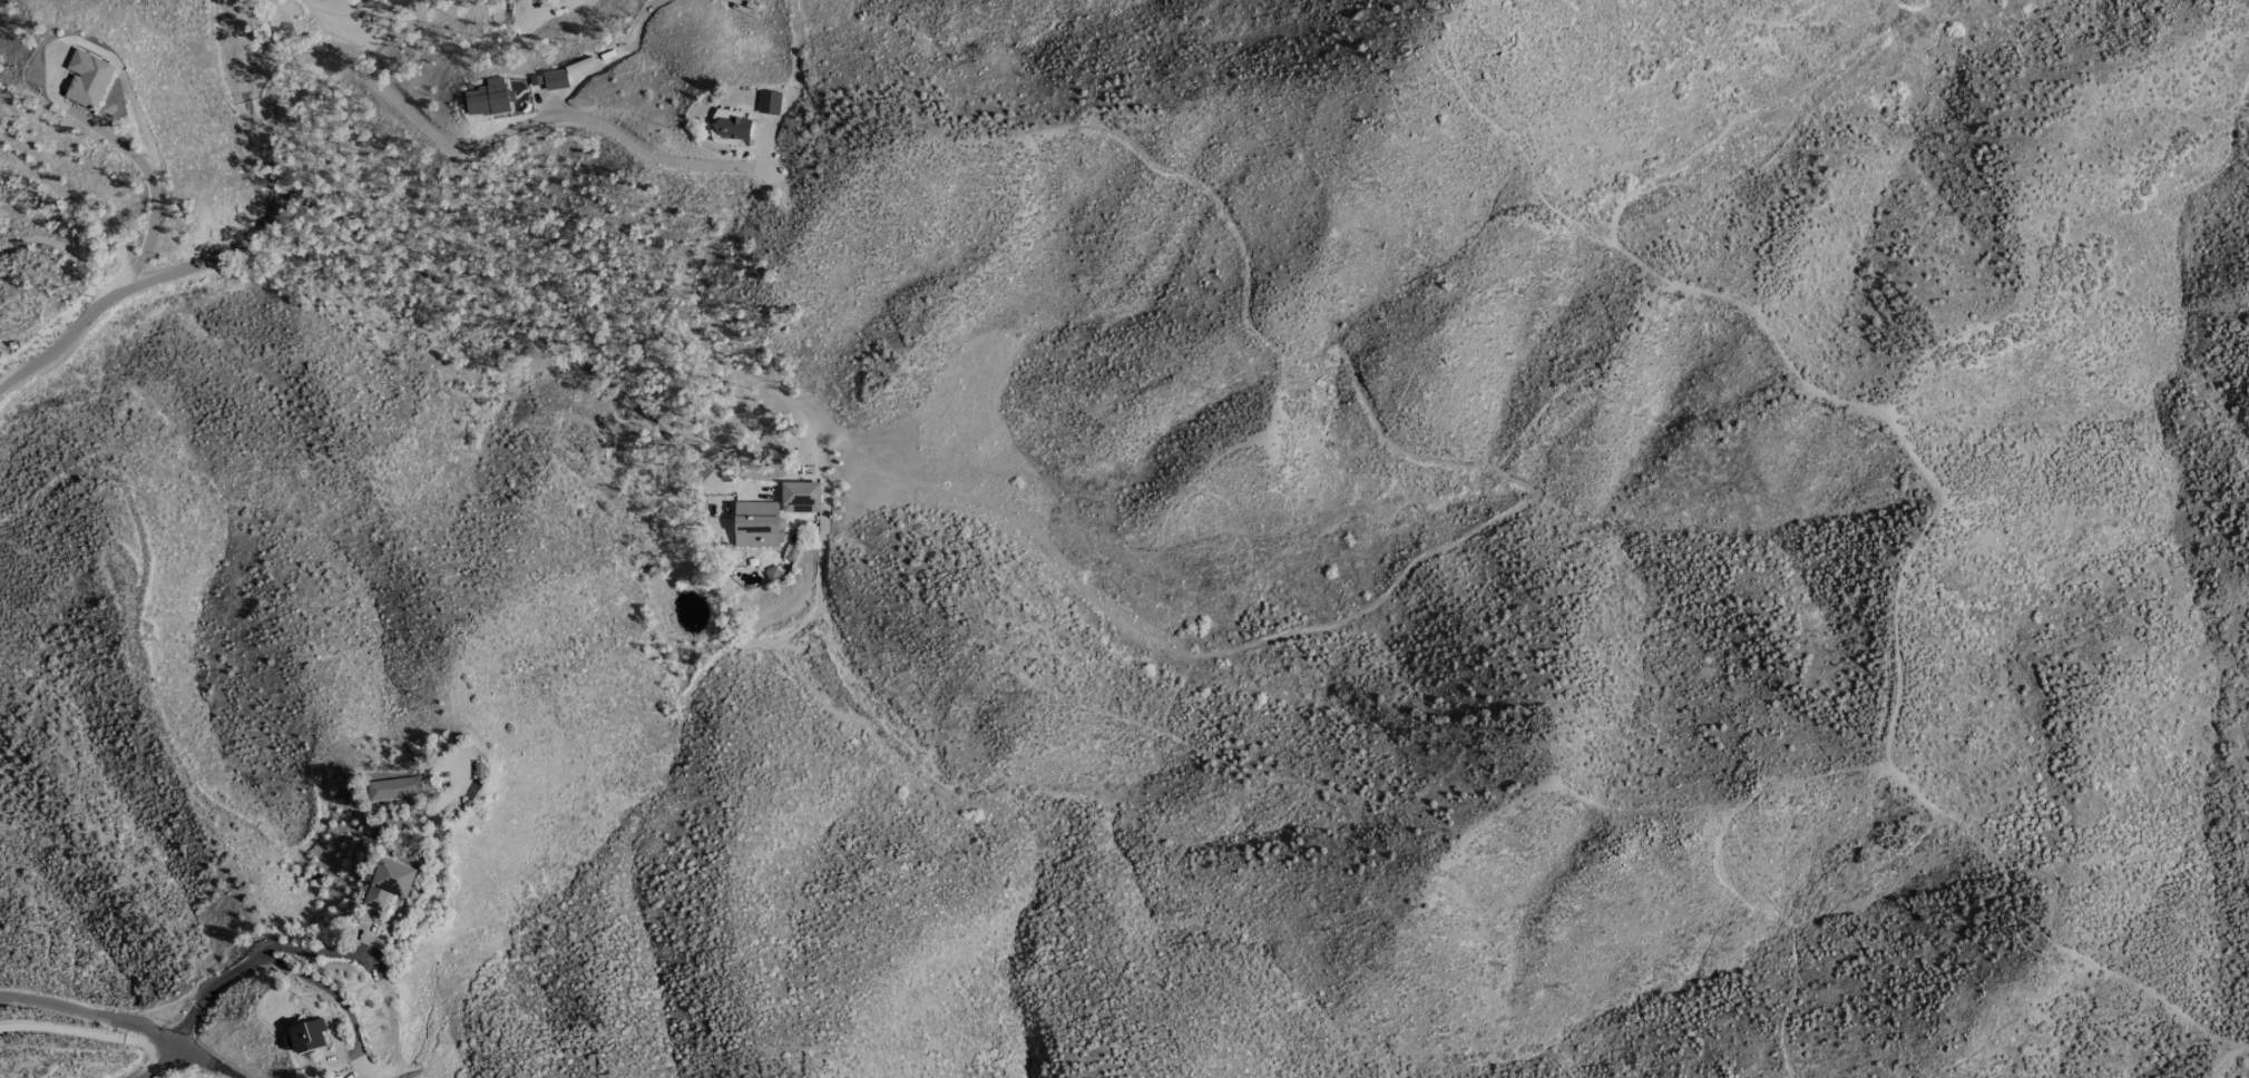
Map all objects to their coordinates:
building: (87, 78)
building: (554, 79)
building: (489, 98)
building: (767, 102)
building: (729, 127)
road: (512, 129)
road: (137, 165)
road: (198, 265)
road: (500, 314)
building: (756, 523)
building: (394, 788)
building: (388, 883)
road: (261, 952)
road: (321, 988)
road: (91, 1015)
road: (88, 1033)
building: (305, 1035)
road: (154, 1064)
road: (207, 1064)

